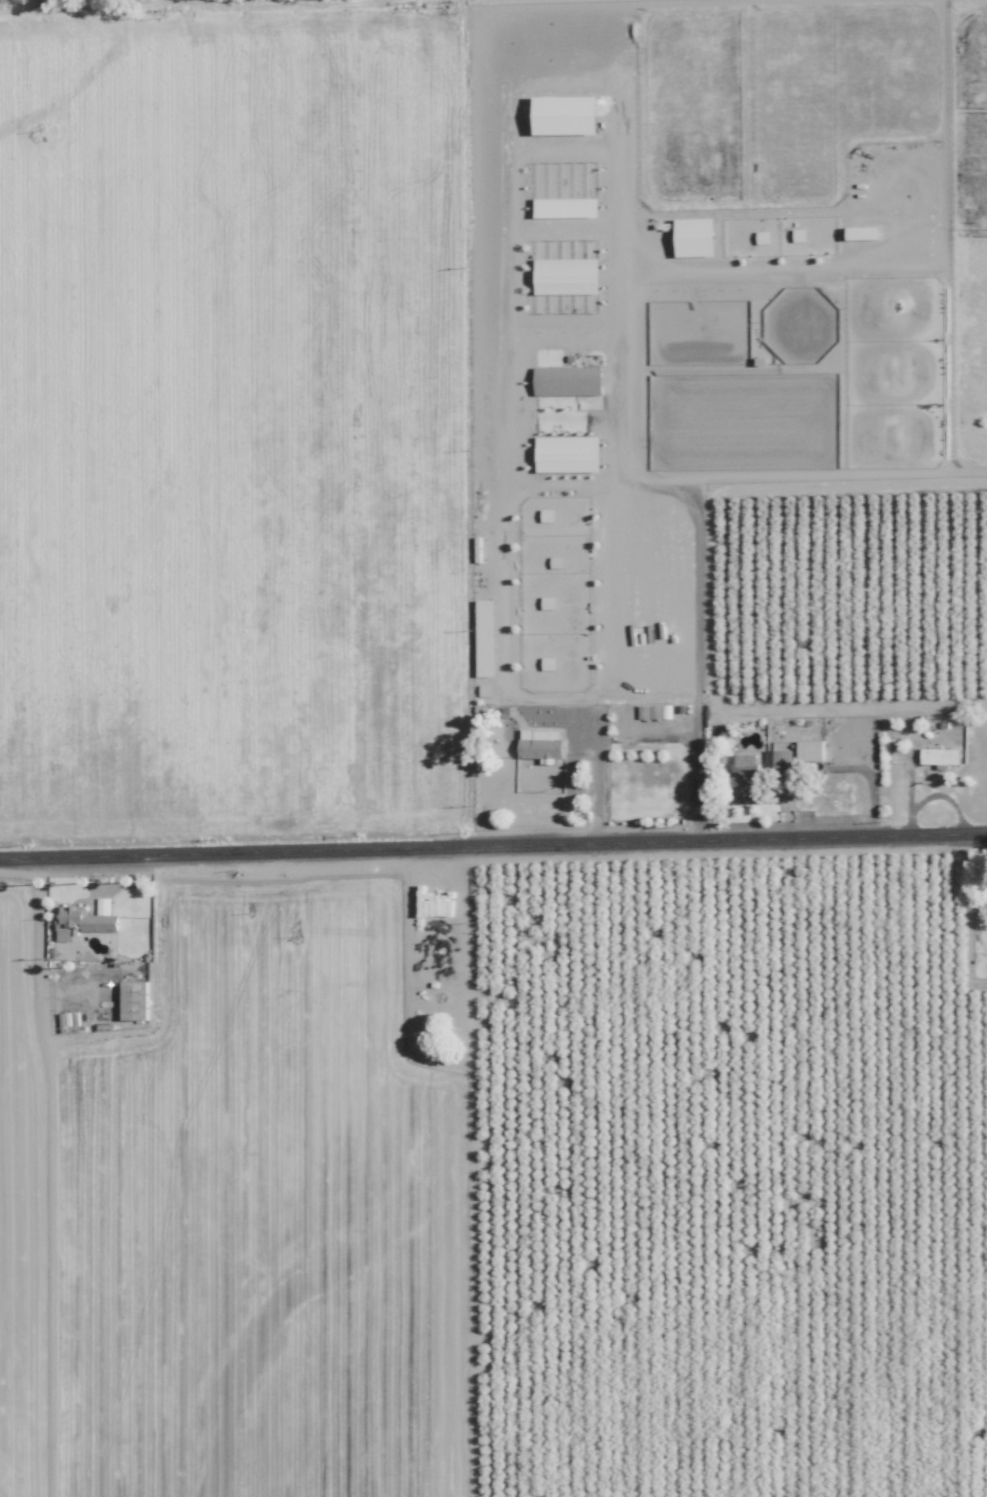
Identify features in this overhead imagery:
building: (571, 380)
road: (695, 672)
building: (813, 749)
building: (943, 756)
road: (493, 846)
building: (84, 923)
road: (37, 951)

